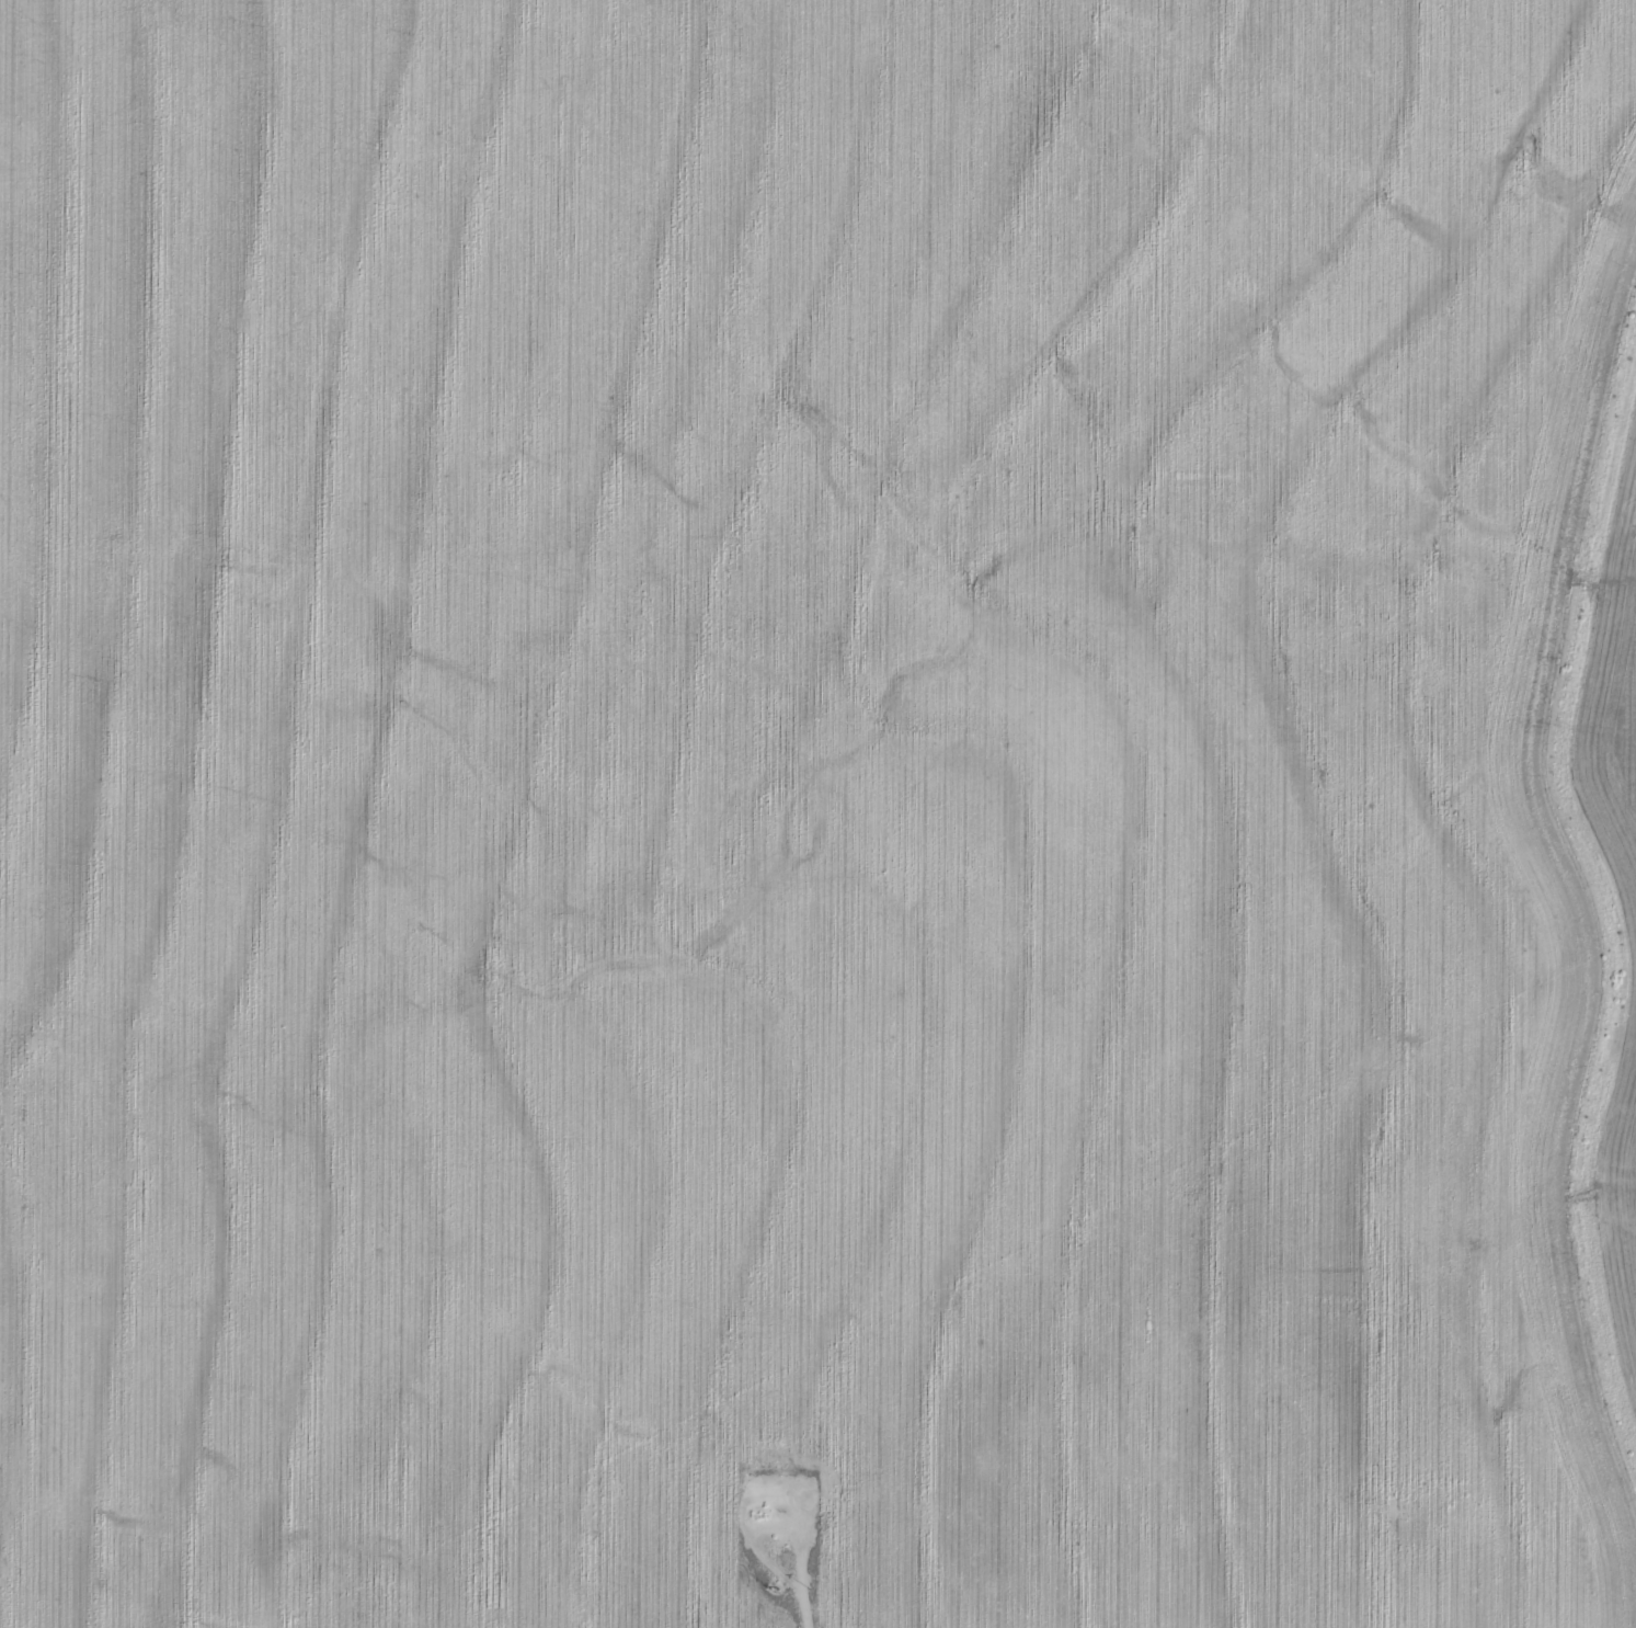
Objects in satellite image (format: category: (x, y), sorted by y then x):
petroleum well: (764, 1511)
petroleum well: (1408, 1523)

